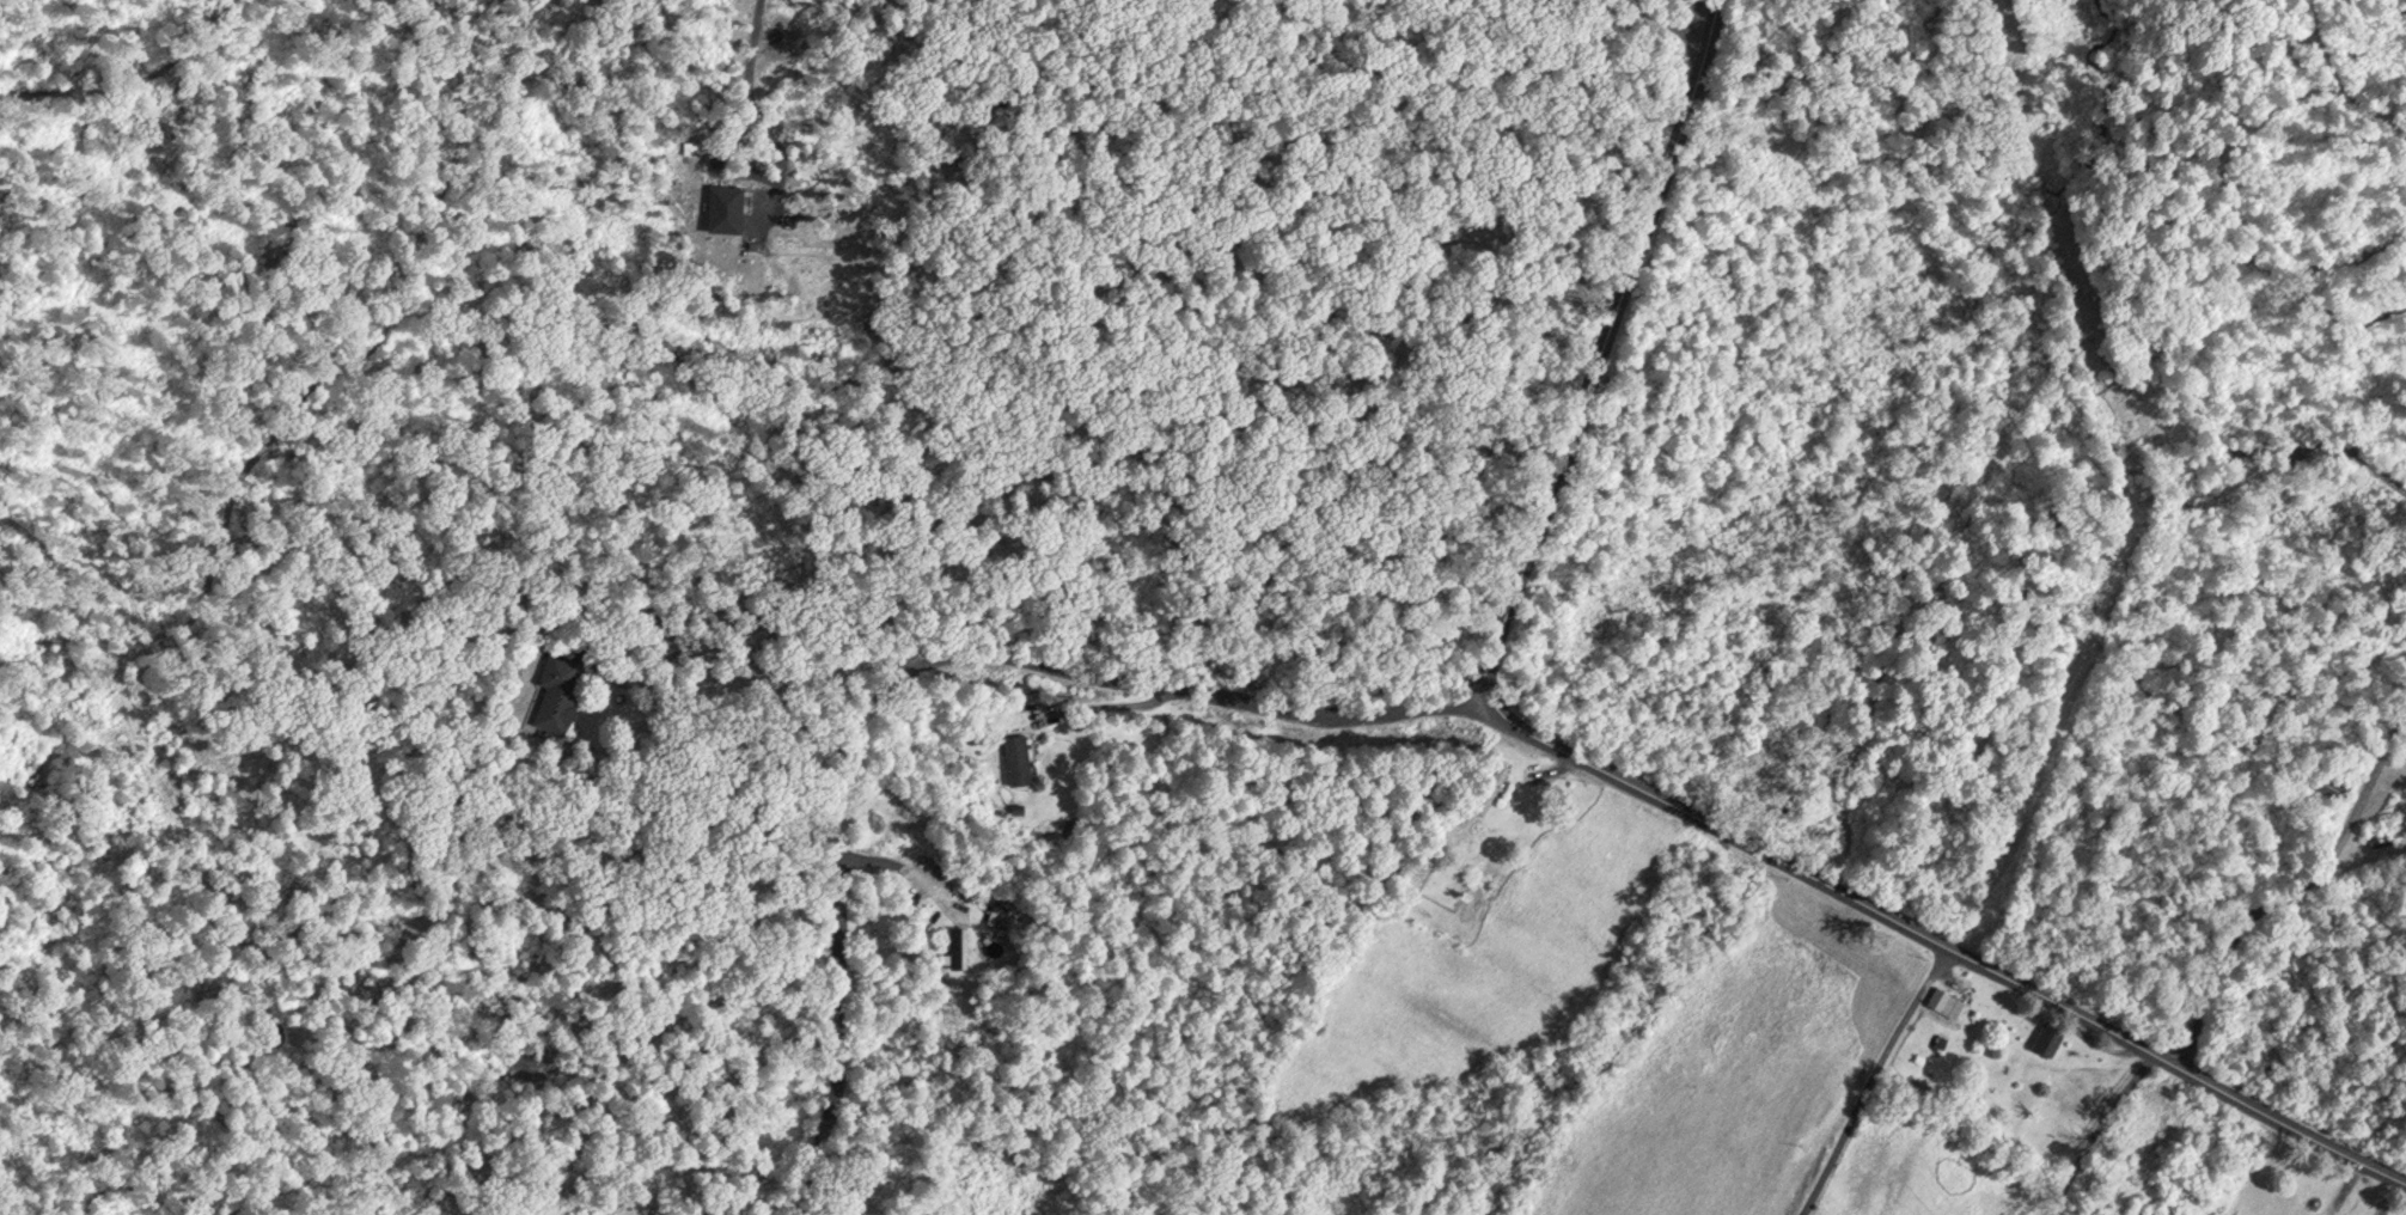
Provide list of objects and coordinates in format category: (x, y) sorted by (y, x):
road: (1660, 19)
road: (750, 41)
road: (769, 182)
road: (1593, 346)
road: (2349, 458)
road: (756, 617)
road: (909, 671)
building: (558, 683)
building: (1018, 755)
road: (1594, 761)
building: (2332, 780)
building: (1494, 782)
road: (893, 872)
road: (2295, 892)
building: (957, 942)
building: (1946, 999)
road: (2059, 1002)
building: (2048, 1037)
road: (1856, 1075)

